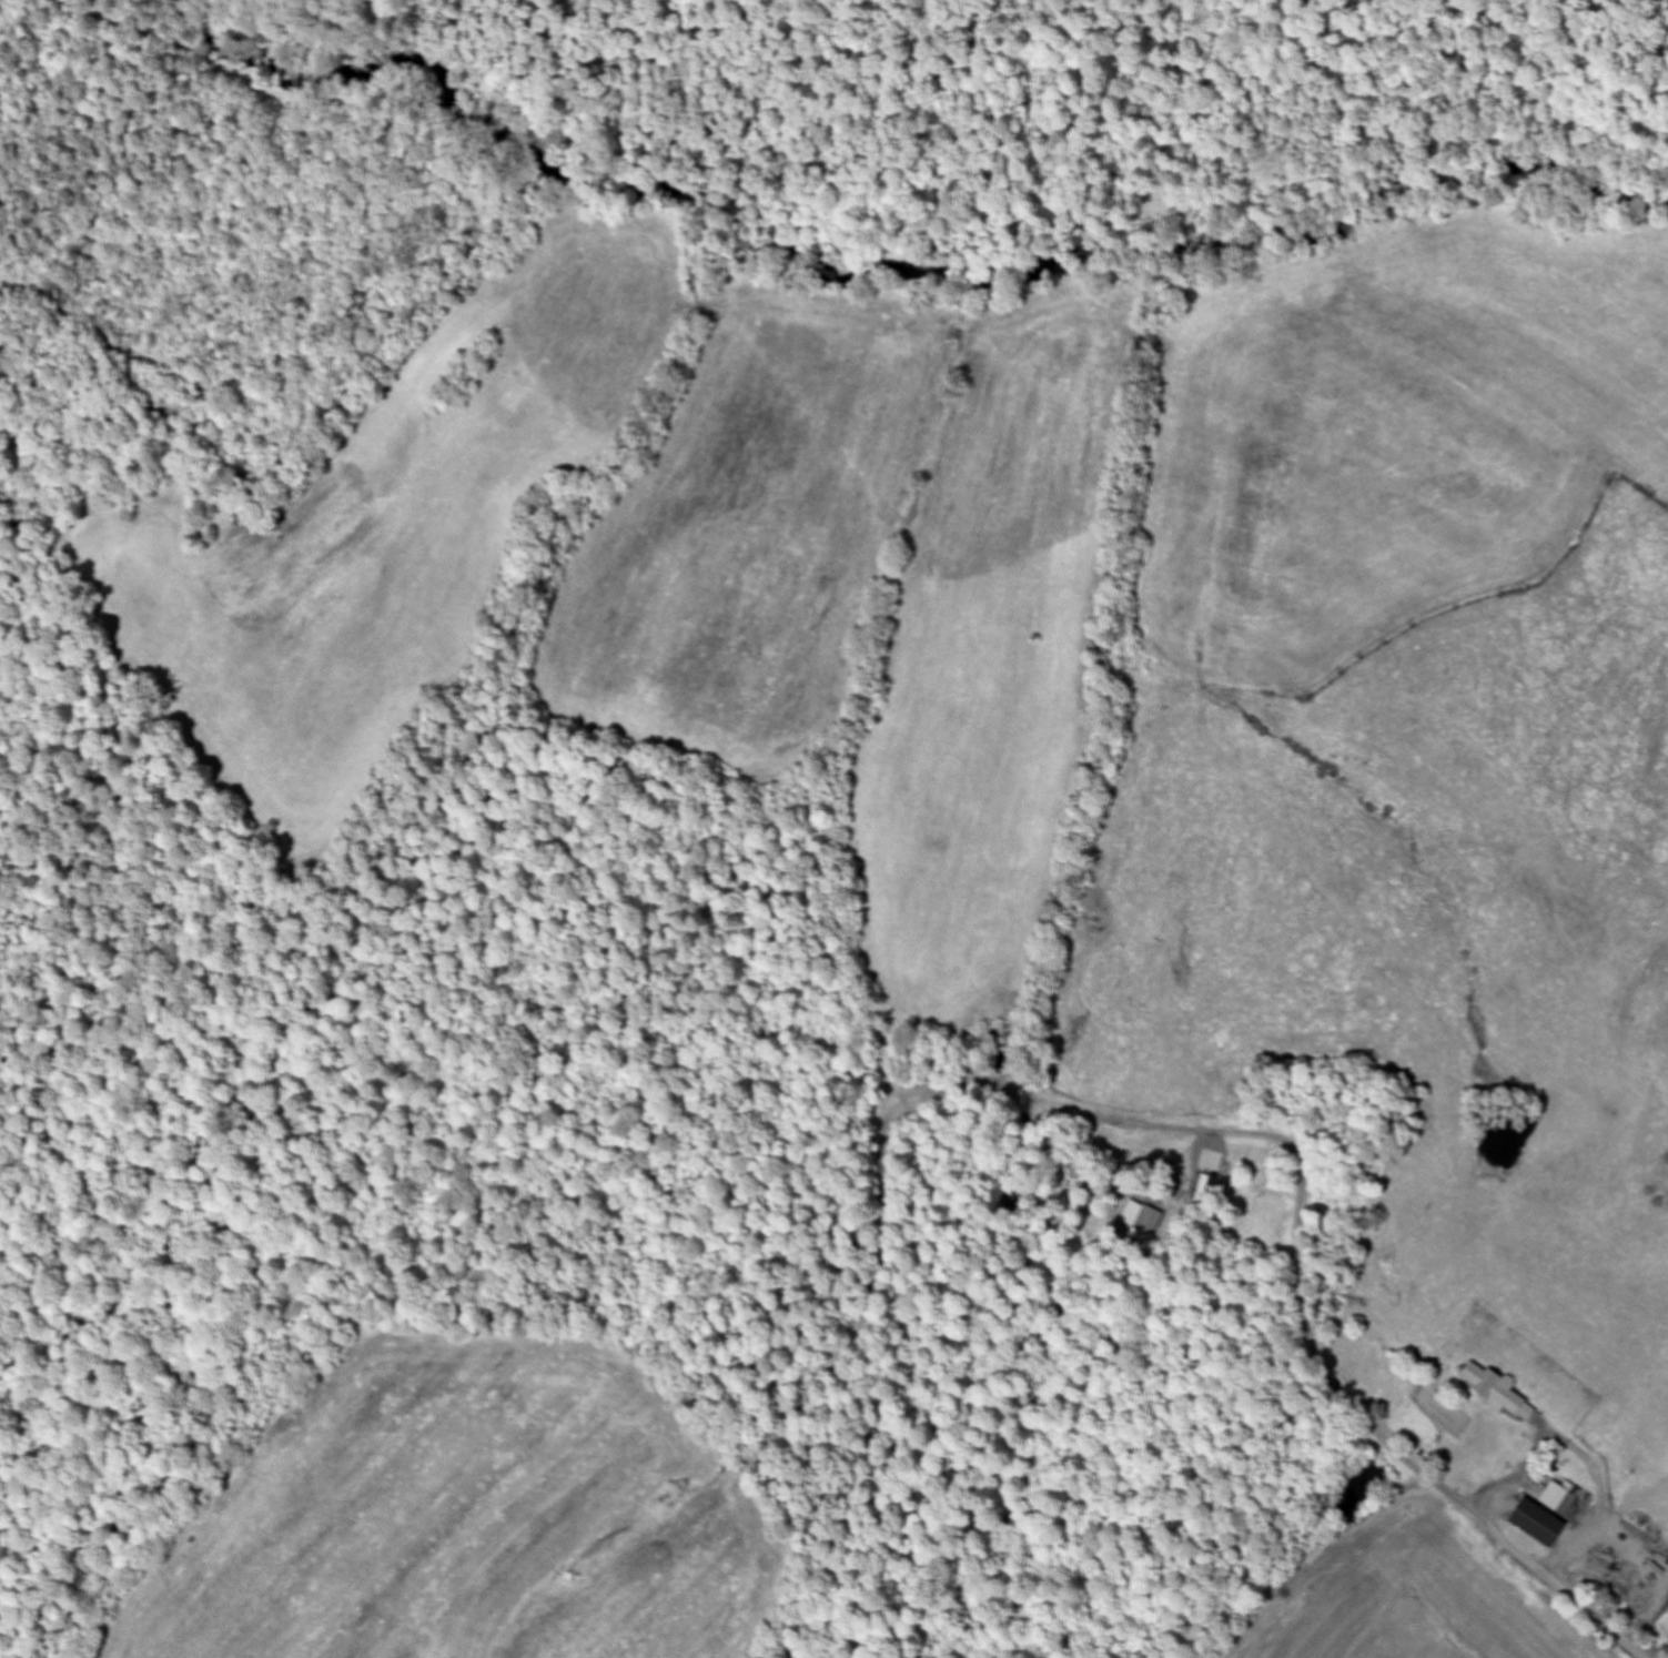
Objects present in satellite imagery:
building: (1203, 1183)
building: (1489, 1391)
building: (1555, 1489)
road: (1555, 1583)

